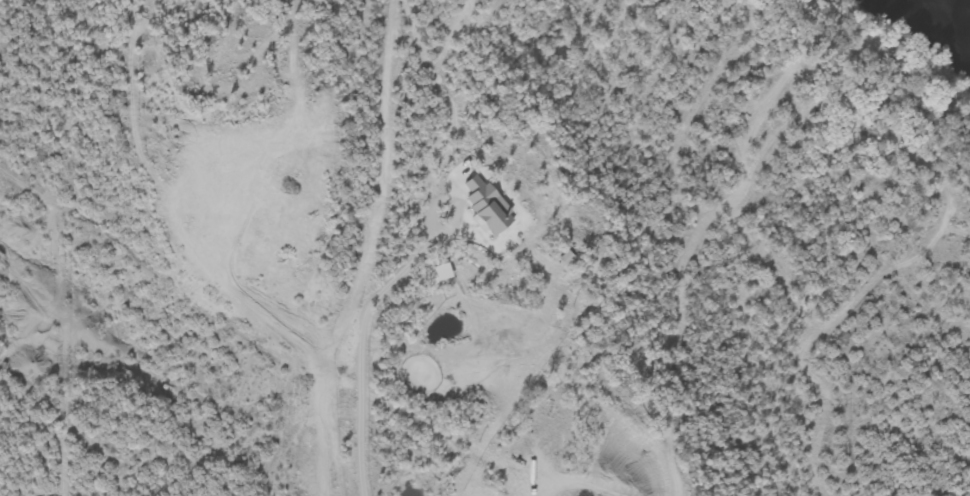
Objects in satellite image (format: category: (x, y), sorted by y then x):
river: (926, 30)
road: (448, 207)
road: (362, 351)

